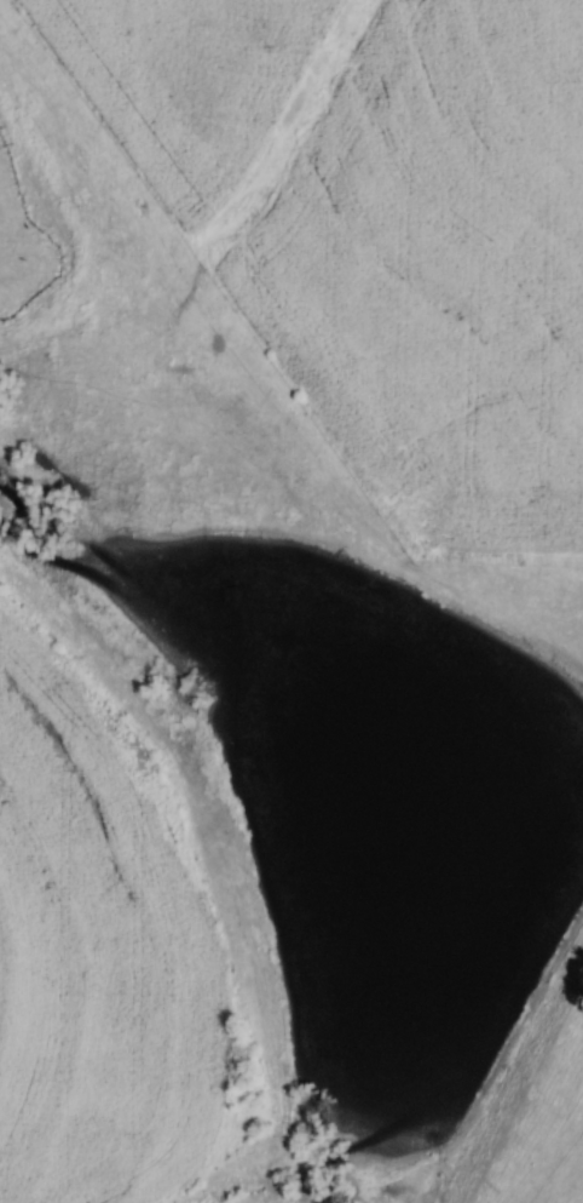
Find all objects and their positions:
dam: (526, 1096)

